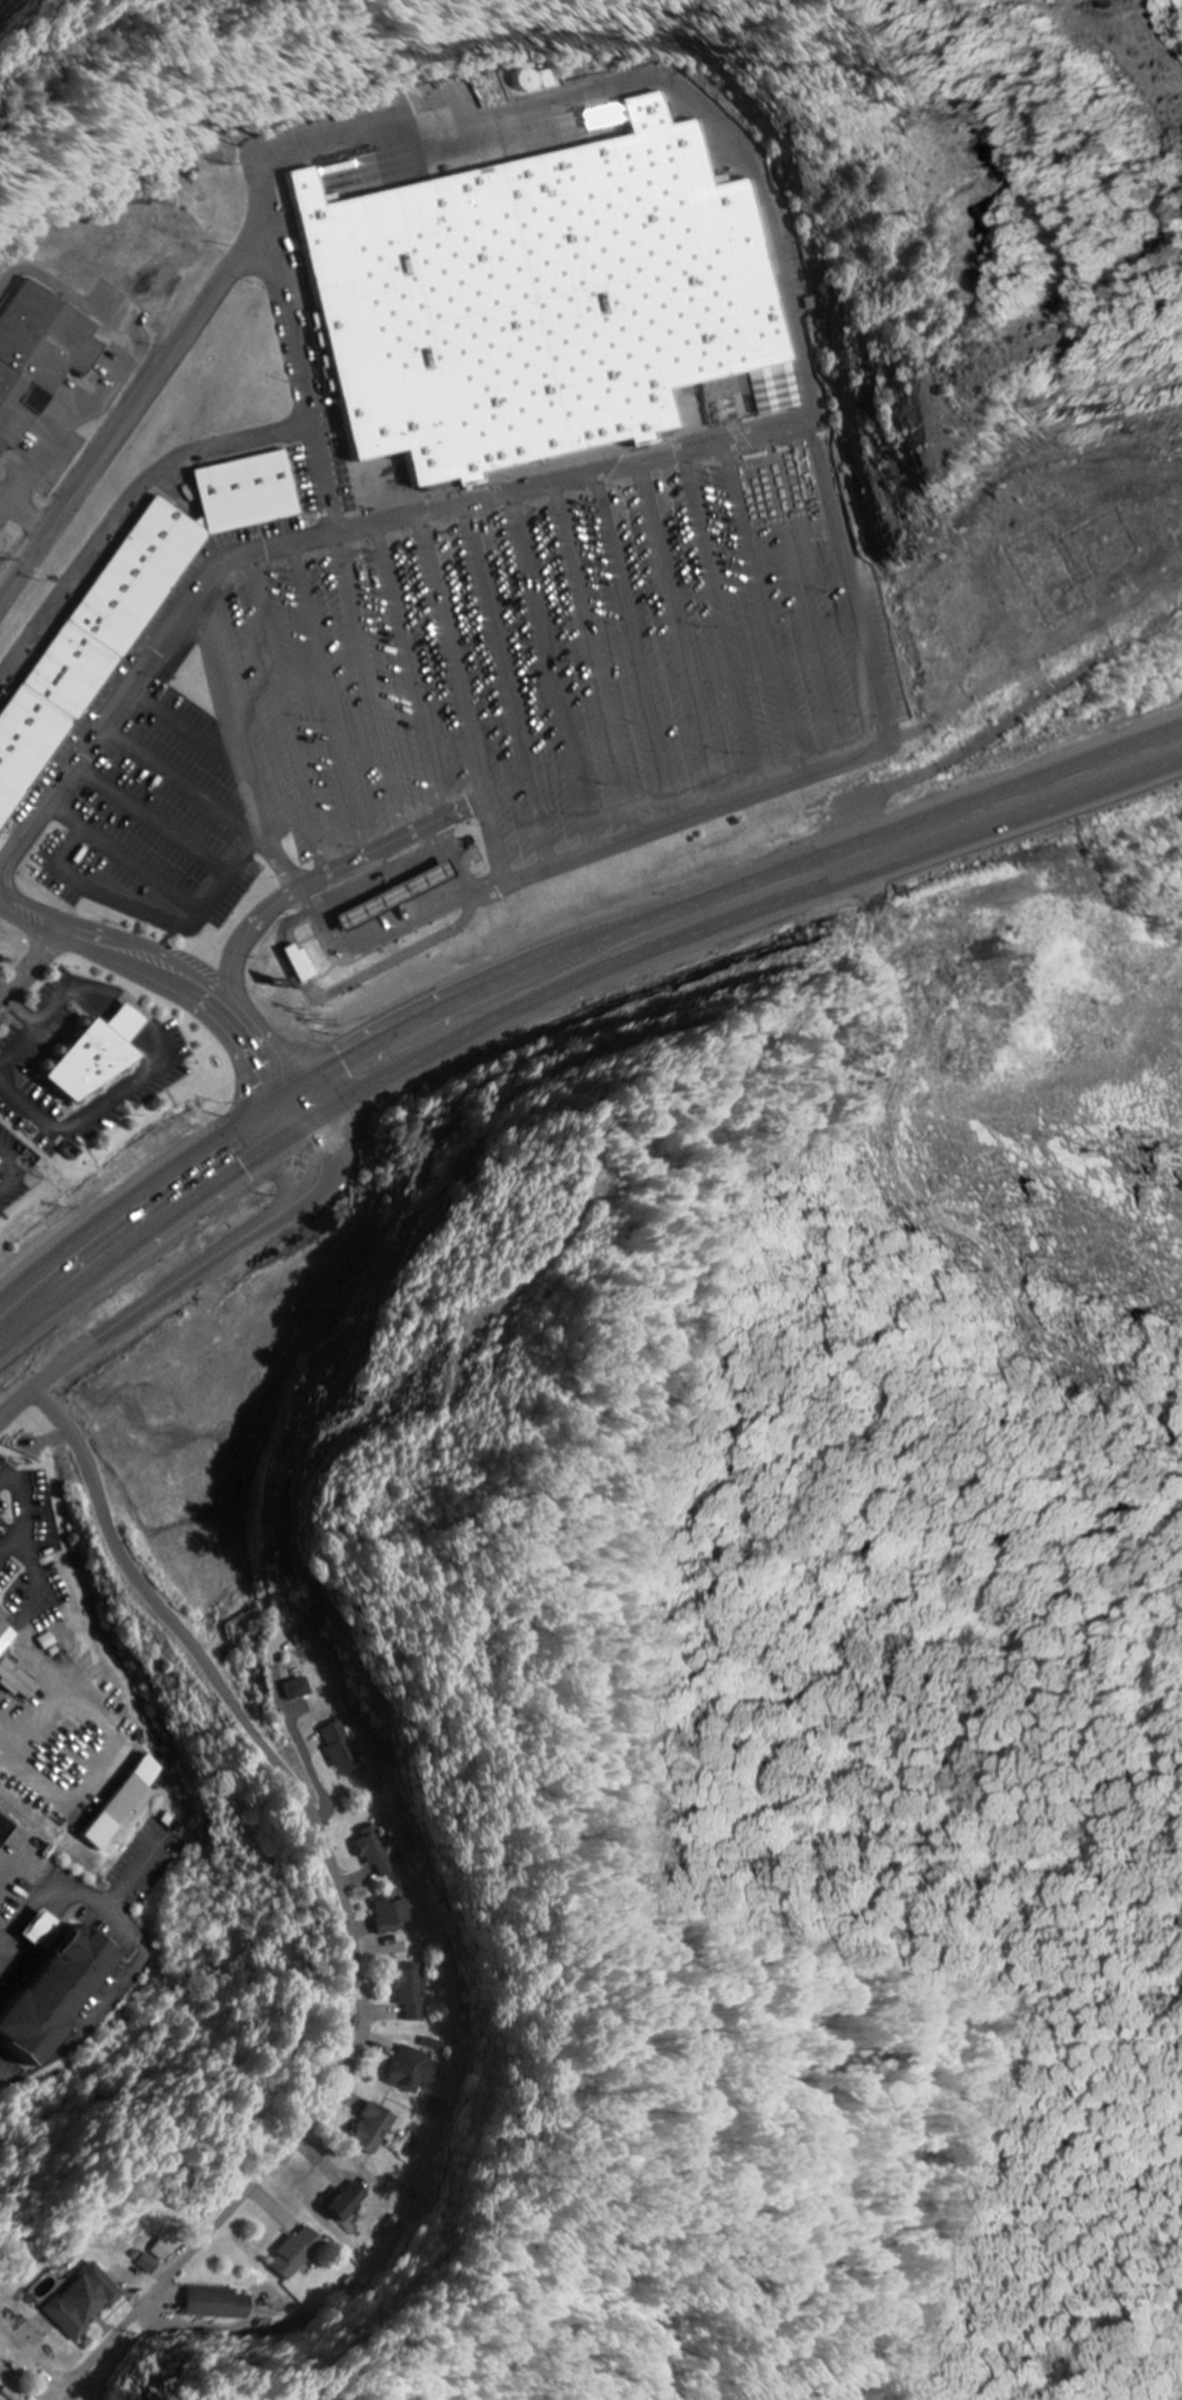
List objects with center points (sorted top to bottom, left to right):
road: (778, 242)
road: (49, 275)
building: (539, 300)
building: (37, 355)
road: (96, 399)
road: (130, 414)
building: (245, 490)
road: (125, 507)
road: (24, 512)
road: (330, 532)
road: (806, 597)
road: (764, 609)
road: (724, 619)
road: (679, 634)
building: (91, 642)
road: (637, 646)
road: (454, 657)
road: (596, 659)
road: (410, 670)
road: (553, 671)
road: (370, 685)
road: (507, 685)
road: (330, 700)
road: (290, 714)
road: (186, 726)
road: (244, 739)
road: (183, 786)
road: (153, 822)
road: (391, 845)
road: (125, 856)
road: (158, 915)
road: (249, 946)
road: (559, 953)
building: (302, 964)
road: (29, 971)
road: (164, 972)
road: (557, 994)
road: (2, 1000)
road: (53, 1012)
road: (20, 1014)
road: (128, 1019)
building: (92, 1056)
traffic signals: (284, 1097)
road: (100, 1107)
road: (293, 1113)
traffic signals: (302, 1131)
road: (177, 1284)
building: (6, 1637)
building: (19, 1681)
building: (299, 1688)
building: (345, 1749)
building: (128, 1801)
building: (6, 1828)
building: (376, 1851)
road: (344, 1903)
building: (396, 1914)
building: (47, 1930)
building: (62, 1992)
building: (411, 1992)
building: (411, 2069)
building: (375, 2129)
building: (351, 2201)
building: (164, 2249)
building: (300, 2253)
building: (86, 2302)

